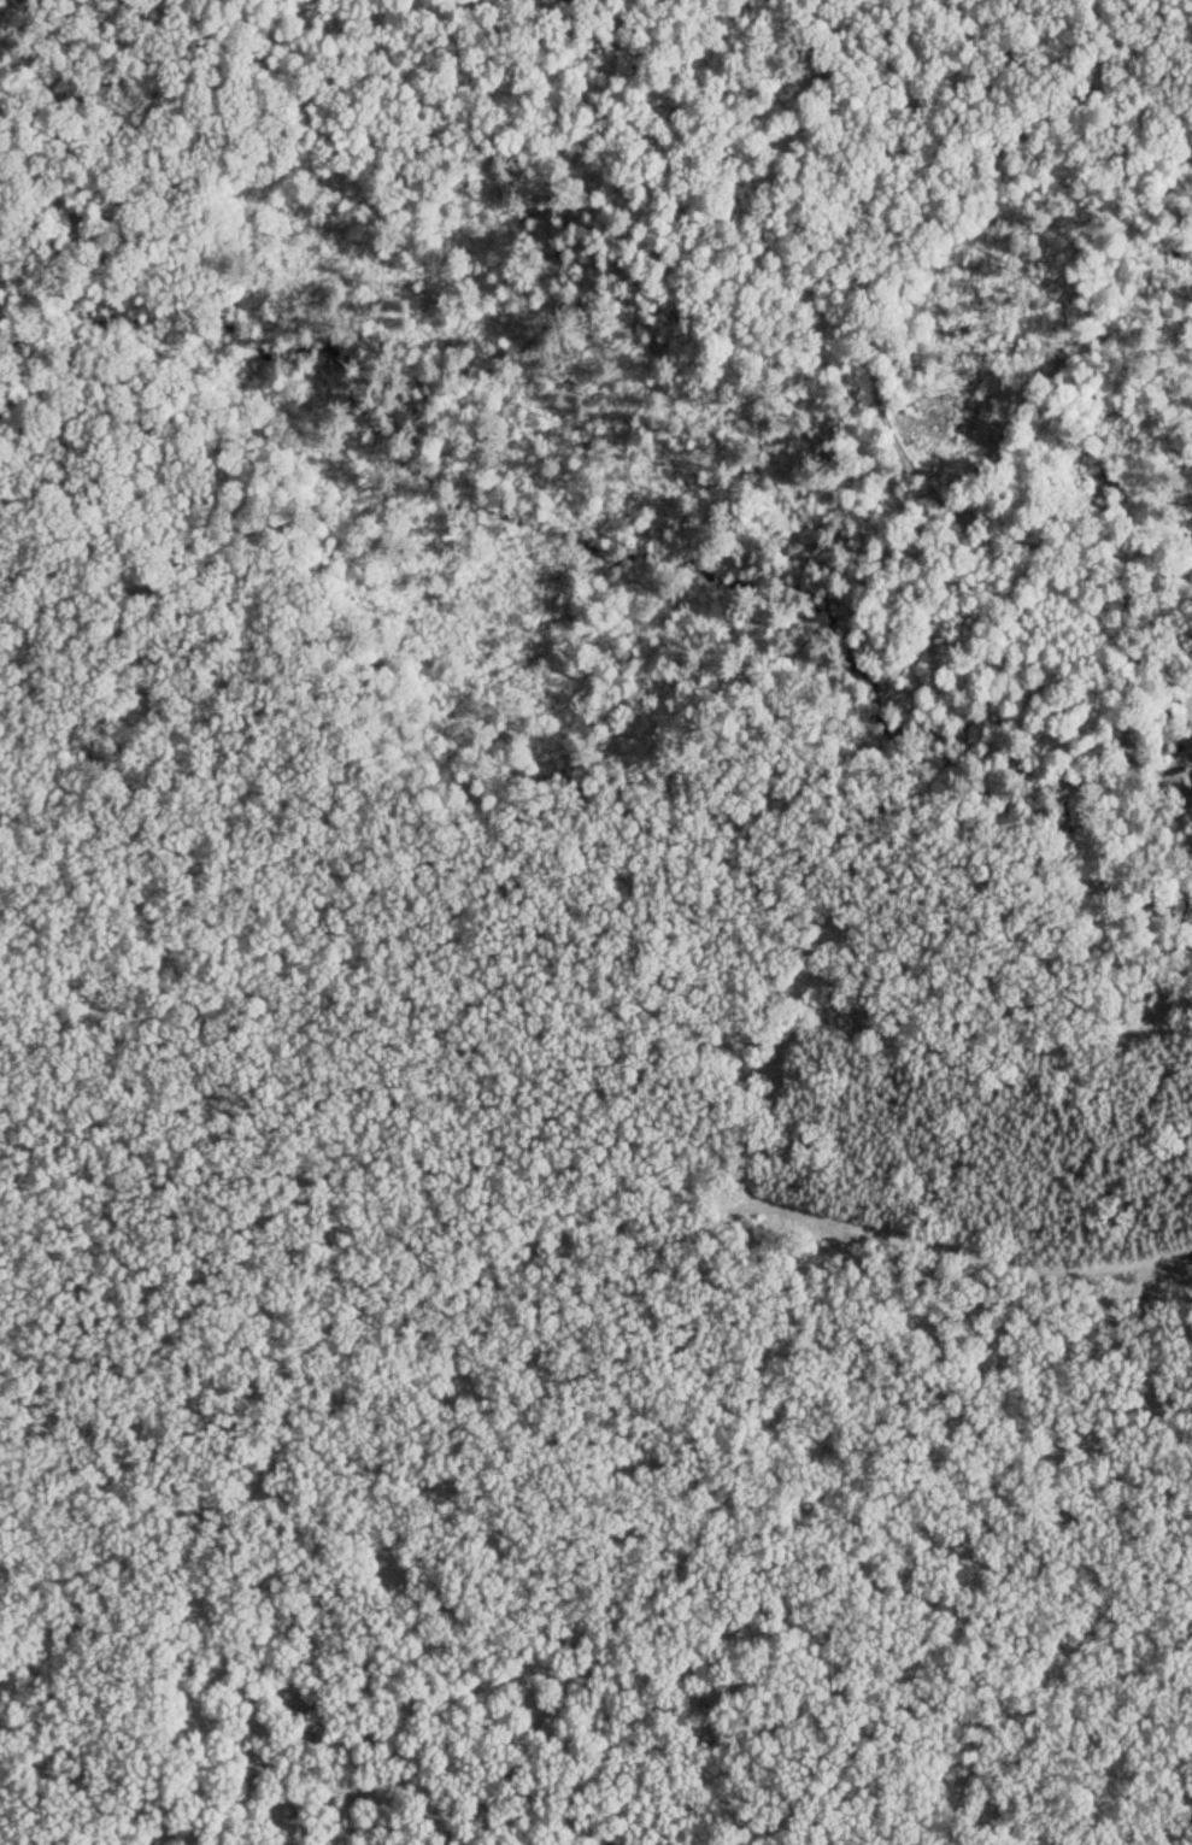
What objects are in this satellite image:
road: (1099, 1368)
road: (902, 1435)

